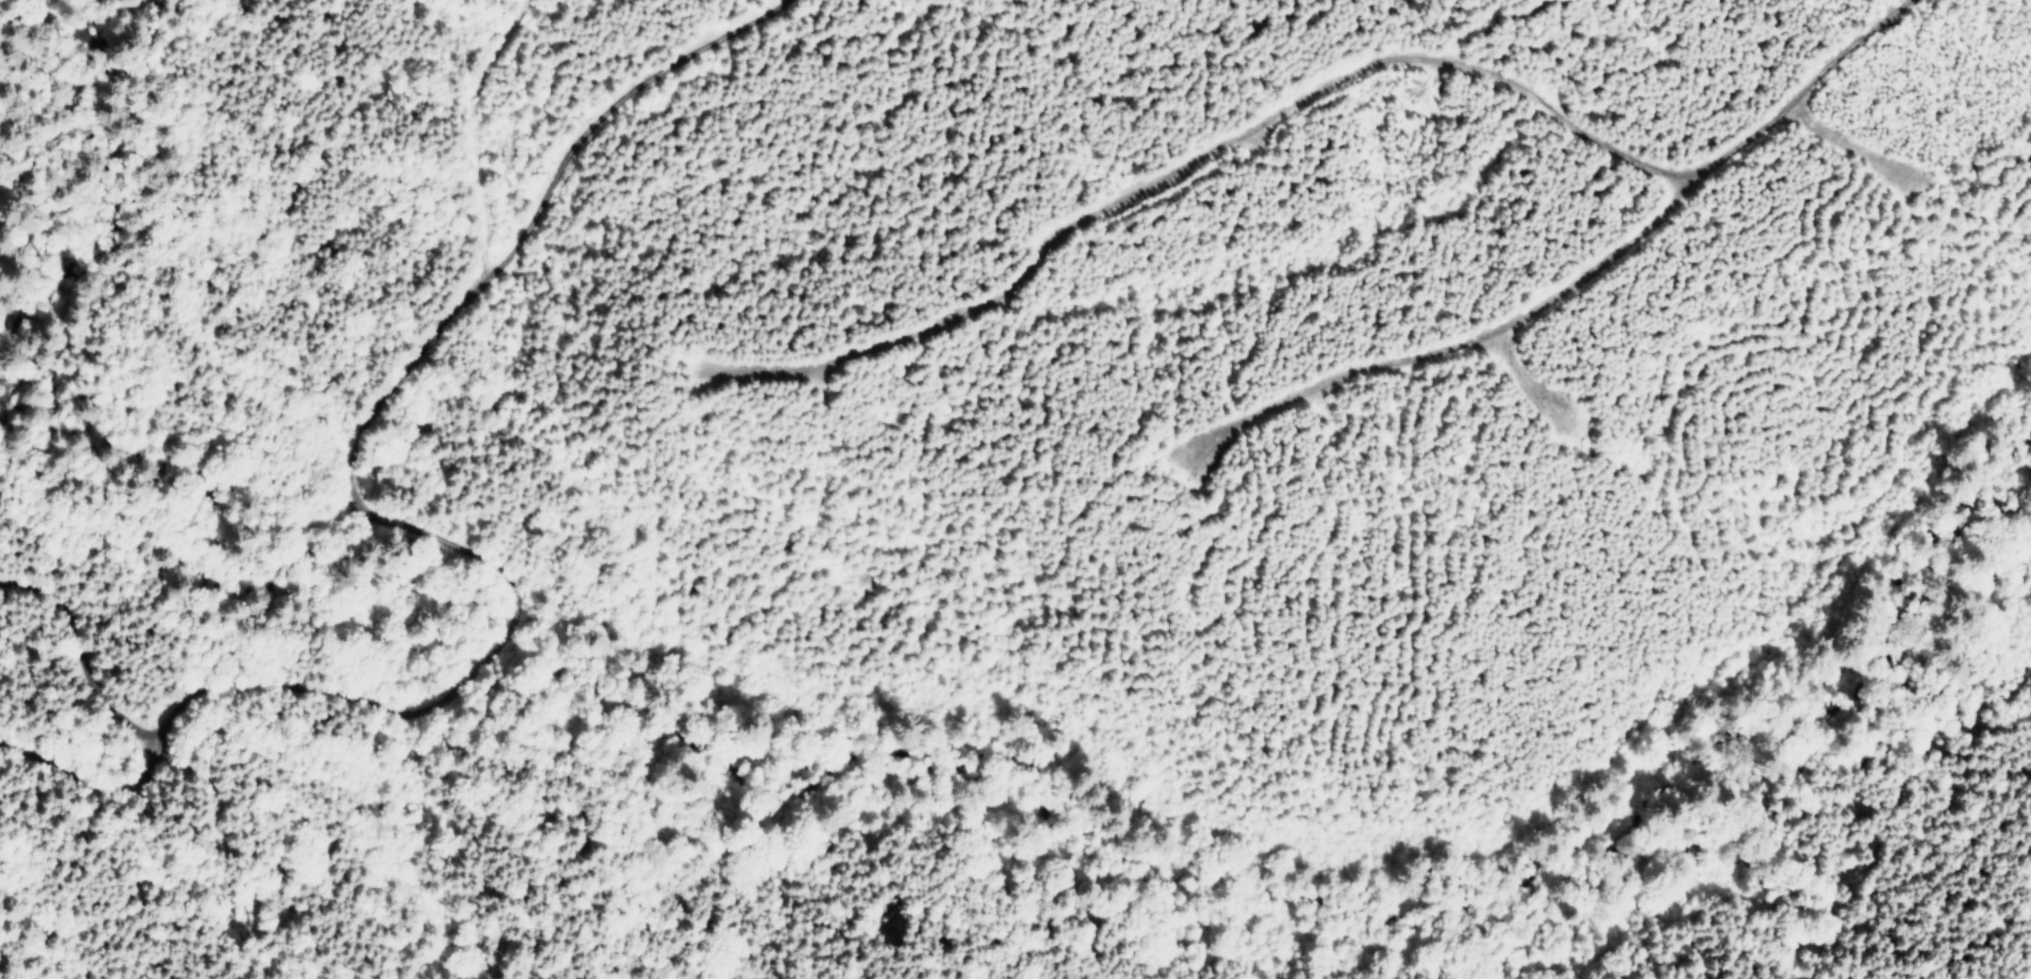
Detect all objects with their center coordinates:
road: (119, 713)

